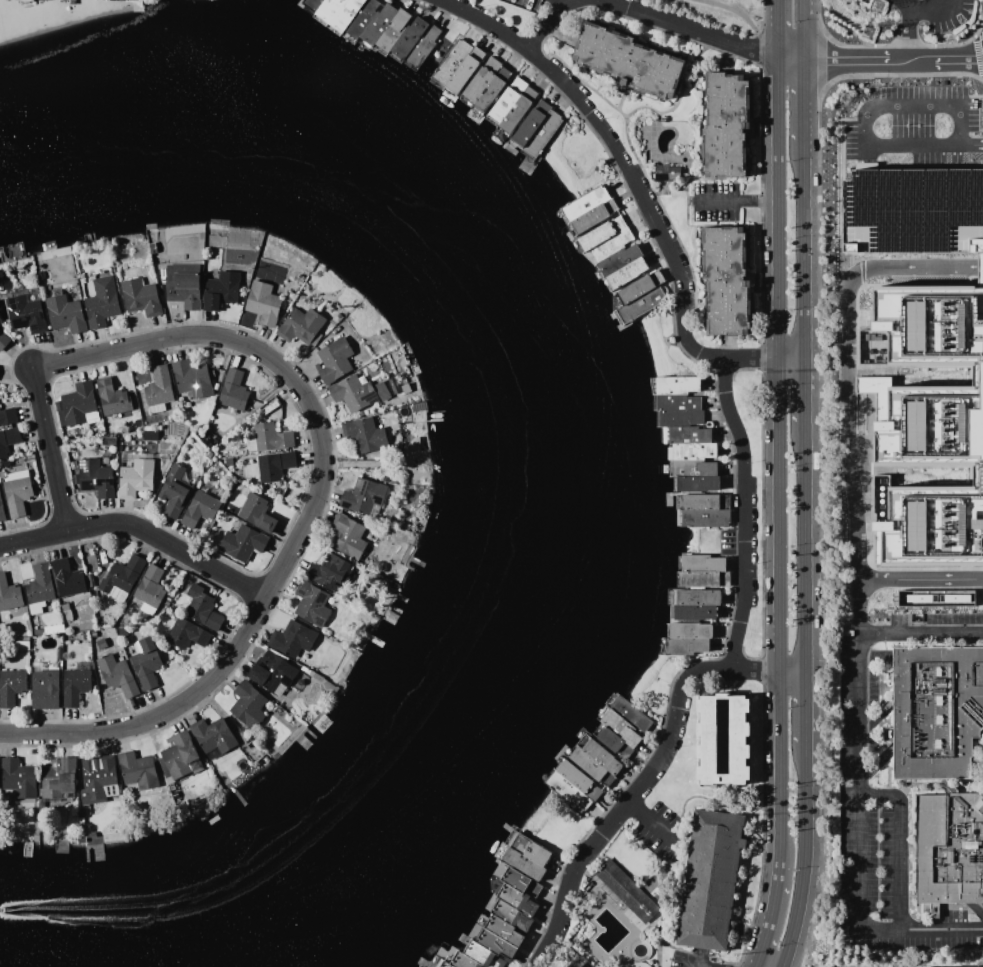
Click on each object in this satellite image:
parking lot: (866, 0)
building: (945, 3)
building: (312, 4)
road: (941, 4)
power tower: (875, 5)
building: (338, 11)
road: (922, 11)
parking lot: (930, 14)
road: (759, 16)
building: (363, 18)
road: (746, 20)
road: (545, 22)
building: (378, 24)
road: (554, 27)
building: (392, 30)
road: (696, 30)
road: (779, 31)
road: (803, 31)
road: (905, 31)
power tower: (866, 33)
road: (560, 35)
road: (971, 37)
building: (406, 39)
road: (829, 40)
road: (540, 45)
building: (423, 46)
road: (903, 46)
road: (759, 50)
road: (976, 54)
building: (626, 61)
road: (821, 61)
building: (451, 62)
road: (881, 62)
building: (462, 75)
building: (477, 84)
building: (489, 93)
road: (622, 97)
road: (759, 98)
power tower: (843, 98)
road: (804, 101)
building: (502, 103)
road: (866, 111)
building: (514, 113)
road: (662, 113)
road: (657, 122)
building: (724, 125)
building: (526, 127)
building: (541, 134)
road: (970, 144)
building: (665, 172)
road: (650, 188)
building: (583, 202)
road: (740, 202)
building: (913, 211)
parking garage: (913, 211)
building: (592, 216)
road: (642, 224)
building: (601, 233)
building: (610, 245)
road: (804, 250)
building: (618, 258)
building: (626, 272)
building: (724, 281)
building: (183, 285)
building: (639, 286)
building: (220, 290)
building: (140, 297)
building: (101, 302)
building: (262, 302)
building: (640, 304)
building: (26, 312)
building: (65, 313)
building: (300, 325)
building: (3, 340)
road: (761, 351)
building: (334, 360)
road: (763, 360)
road: (760, 367)
building: (191, 378)
road: (722, 378)
building: (676, 385)
building: (158, 386)
building: (233, 389)
building: (381, 390)
road: (846, 390)
road: (804, 391)
building: (351, 393)
building: (111, 397)
building: (676, 402)
building: (77, 403)
building: (8, 417)
building: (680, 418)
building: (926, 423)
building: (364, 434)
building: (686, 435)
building: (8, 438)
building: (268, 438)
road: (818, 447)
road: (49, 451)
building: (692, 459)
road: (741, 460)
building: (274, 465)
road: (780, 466)
building: (95, 478)
building: (135, 478)
building: (696, 483)
building: (173, 491)
building: (17, 492)
building: (362, 496)
park: (757, 500)
building: (698, 502)
building: (199, 509)
road: (761, 509)
building: (1, 511)
building: (255, 513)
road: (309, 513)
building: (703, 518)
road: (139, 528)
building: (347, 536)
road: (733, 541)
building: (242, 542)
road: (805, 546)
building: (701, 563)
building: (329, 572)
building: (704, 578)
road: (923, 578)
building: (68, 579)
building: (120, 579)
building: (39, 584)
building: (150, 587)
building: (9, 594)
building: (697, 597)
building: (936, 598)
building: (311, 603)
building: (202, 608)
building: (693, 612)
building: (689, 630)
building: (186, 634)
building: (292, 639)
building: (684, 646)
road: (732, 648)
building: (145, 662)
road: (762, 670)
road: (768, 670)
building: (272, 672)
building: (117, 675)
building: (75, 686)
building: (11, 687)
building: (44, 690)
building: (247, 705)
road: (806, 705)
building: (935, 710)
building: (631, 714)
road: (860, 720)
building: (620, 728)
building: (212, 736)
building: (722, 739)
building: (609, 740)
building: (179, 755)
building: (602, 757)
road: (643, 760)
building: (587, 764)
building: (138, 770)
building: (574, 776)
building: (18, 778)
building: (58, 778)
building: (98, 778)
building: (567, 791)
road: (717, 798)
road: (757, 805)
parking lot: (869, 822)
road: (651, 823)
road: (762, 826)
road: (899, 844)
building: (948, 848)
building: (523, 855)
road: (805, 855)
building: (709, 880)
building: (521, 881)
building: (623, 891)
building: (518, 900)
building: (512, 915)
road: (771, 919)
road: (921, 929)
parking lot: (945, 929)
building: (503, 930)
building: (495, 944)
building: (482, 955)
building: (463, 961)
building: (580, 962)
building: (441, 963)
road: (739, 964)

